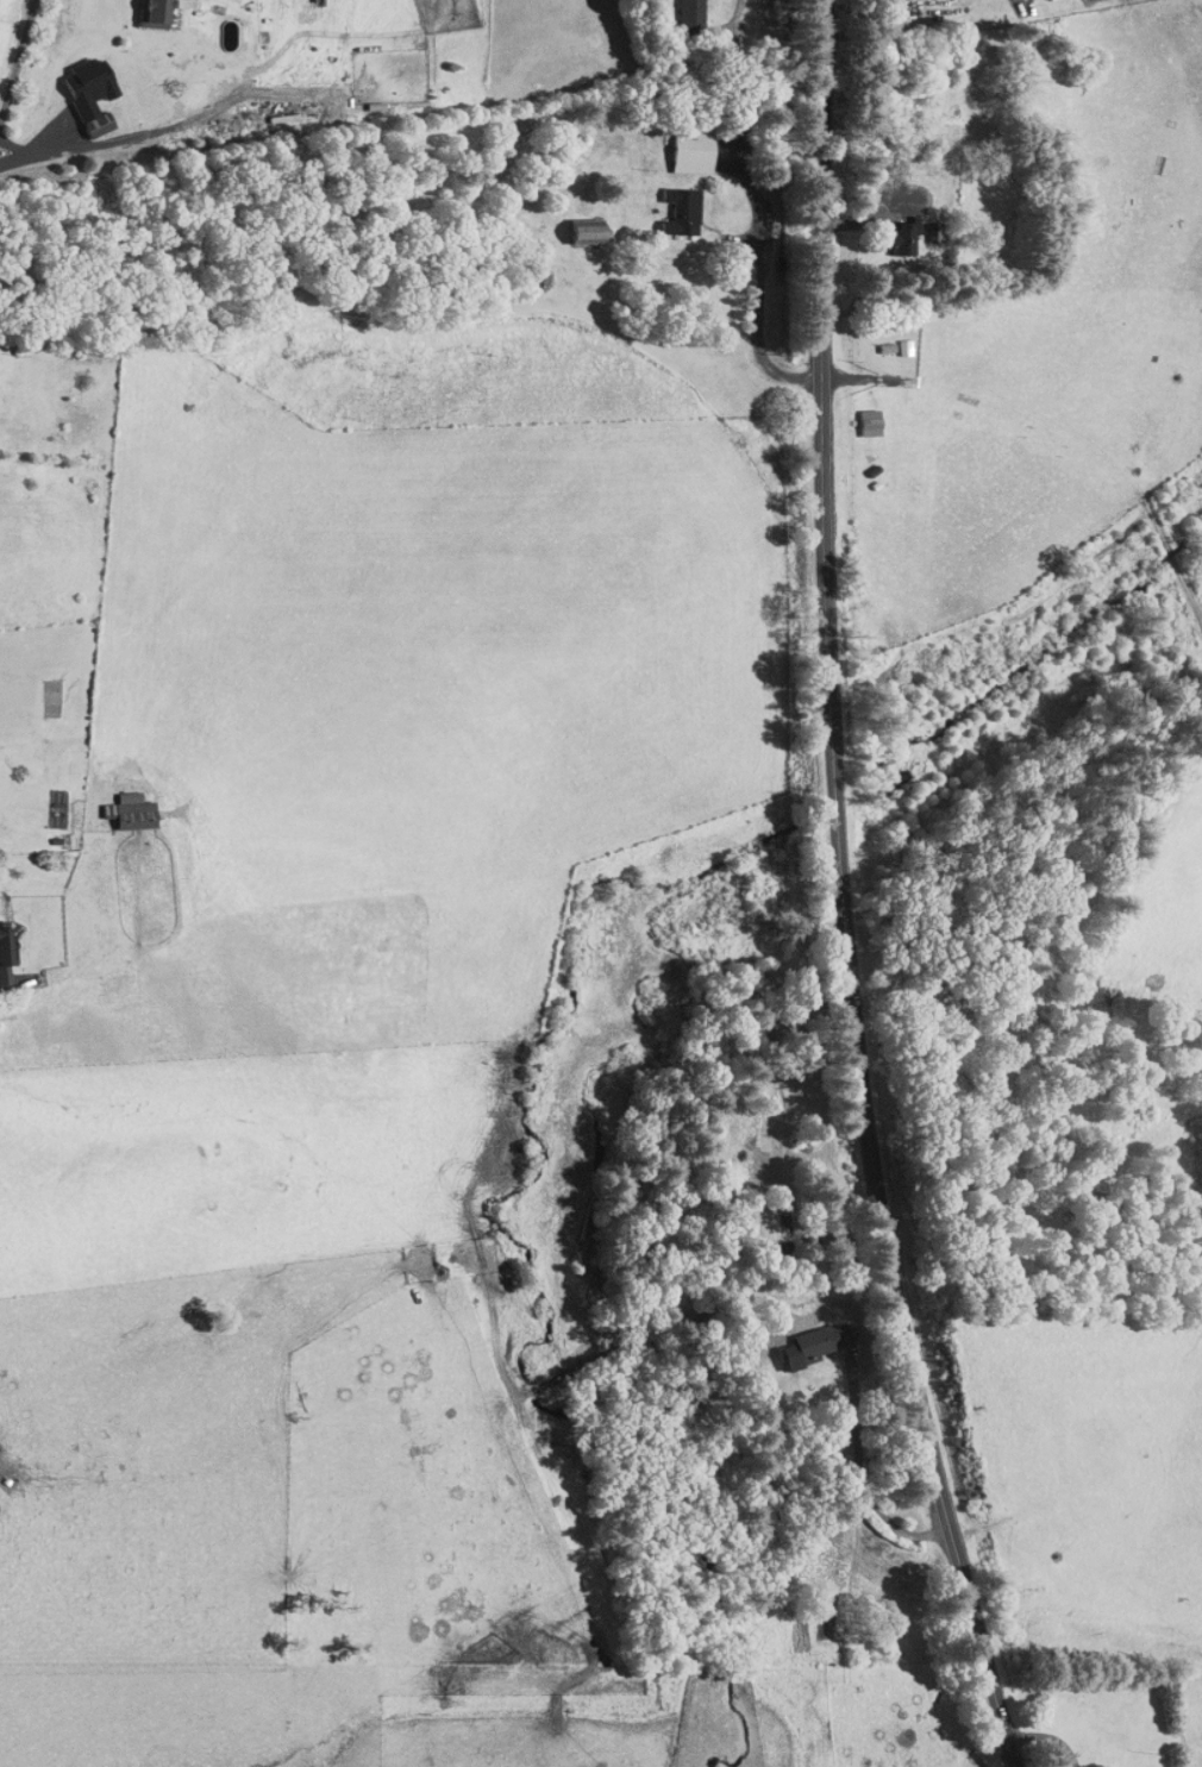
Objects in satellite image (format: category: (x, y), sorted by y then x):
road: (1020, 1)
road: (739, 7)
road: (18, 63)
road: (758, 269)
road: (914, 343)
road: (841, 892)

